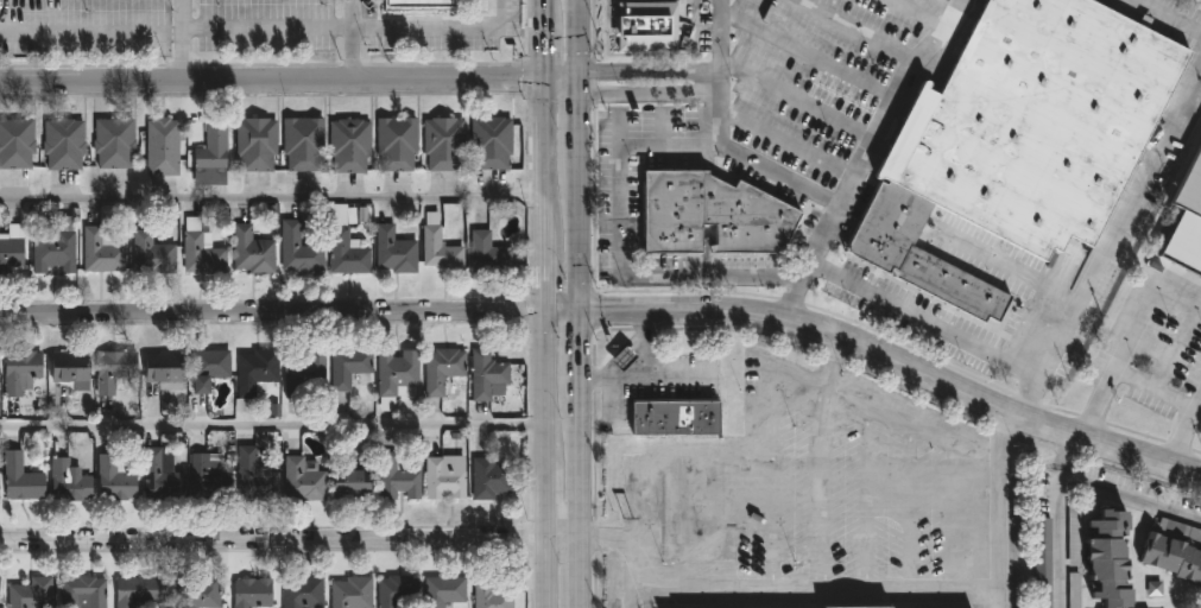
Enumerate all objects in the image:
building: (419, 5)
building: (482, 6)
road: (538, 6)
road: (1170, 15)
building: (645, 27)
road: (436, 28)
road: (266, 30)
road: (577, 39)
road: (352, 40)
road: (181, 42)
road: (715, 42)
road: (538, 45)
road: (646, 69)
parking lot: (818, 76)
traffic signals: (538, 78)
road: (558, 78)
traffic signals: (579, 80)
road: (268, 81)
road: (645, 93)
road: (896, 99)
road: (579, 126)
road: (541, 138)
building: (1022, 140)
building: (112, 141)
building: (62, 142)
building: (394, 142)
building: (489, 142)
building: (14, 144)
building: (254, 144)
building: (302, 144)
building: (347, 144)
building: (441, 144)
building: (160, 147)
building: (209, 156)
road: (809, 189)
building: (1191, 191)
road: (271, 197)
building: (714, 216)
road: (581, 241)
building: (343, 242)
building: (11, 245)
building: (52, 248)
road: (622, 248)
building: (200, 249)
building: (297, 249)
building: (100, 251)
building: (252, 251)
building: (393, 251)
building: (438, 251)
building: (150, 253)
building: (487, 253)
road: (545, 253)
road: (1011, 268)
traffic signals: (549, 309)
road: (565, 309)
traffic signals: (583, 309)
road: (274, 311)
road: (1132, 328)
road: (1062, 335)
road: (583, 346)
road: (634, 365)
road: (898, 366)
building: (207, 367)
building: (349, 368)
building: (440, 368)
building: (162, 369)
building: (303, 369)
building: (18, 370)
building: (64, 370)
building: (112, 370)
building: (485, 373)
building: (394, 375)
building: (253, 376)
road: (549, 376)
road: (1030, 399)
building: (676, 417)
road: (274, 426)
road: (1184, 436)
road: (733, 448)
road: (909, 448)
road: (583, 457)
building: (487, 476)
building: (19, 477)
building: (159, 477)
building: (253, 477)
building: (396, 477)
building: (113, 479)
building: (206, 479)
building: (67, 480)
building: (301, 480)
building: (348, 480)
building: (441, 480)
road: (1072, 484)
road: (549, 489)
road: (997, 511)
road: (291, 539)
road: (622, 551)
building: (1105, 557)
building: (1170, 557)
building: (1043, 563)
road: (550, 570)
road: (583, 570)
building: (0, 578)
road: (809, 588)
building: (394, 589)
building: (137, 590)
building: (442, 590)
building: (1074, 590)
building: (27, 591)
building: (81, 593)
building: (197, 593)
building: (249, 593)
building: (302, 593)
building: (350, 593)
building: (489, 594)

